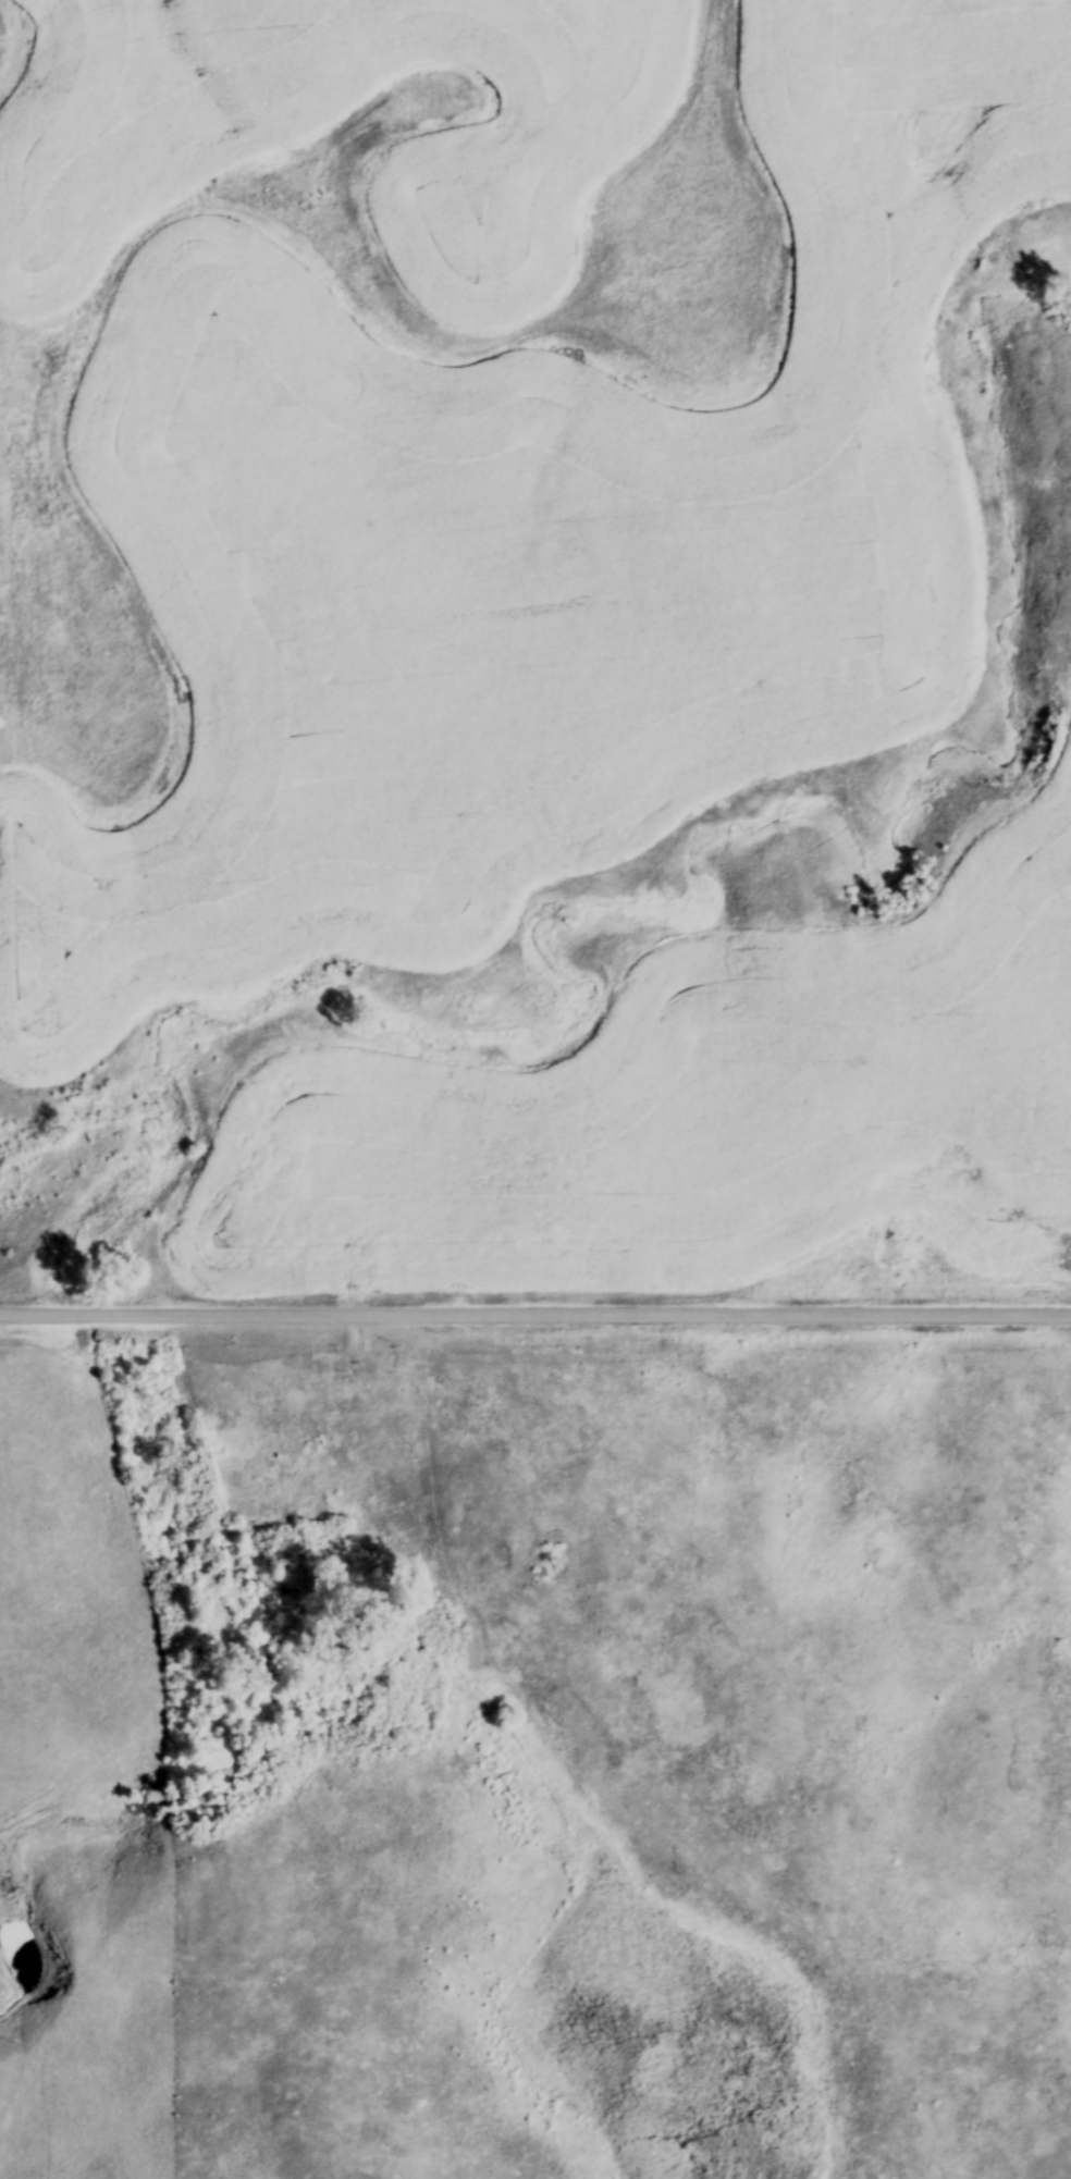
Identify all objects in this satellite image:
road: (534, 1313)

